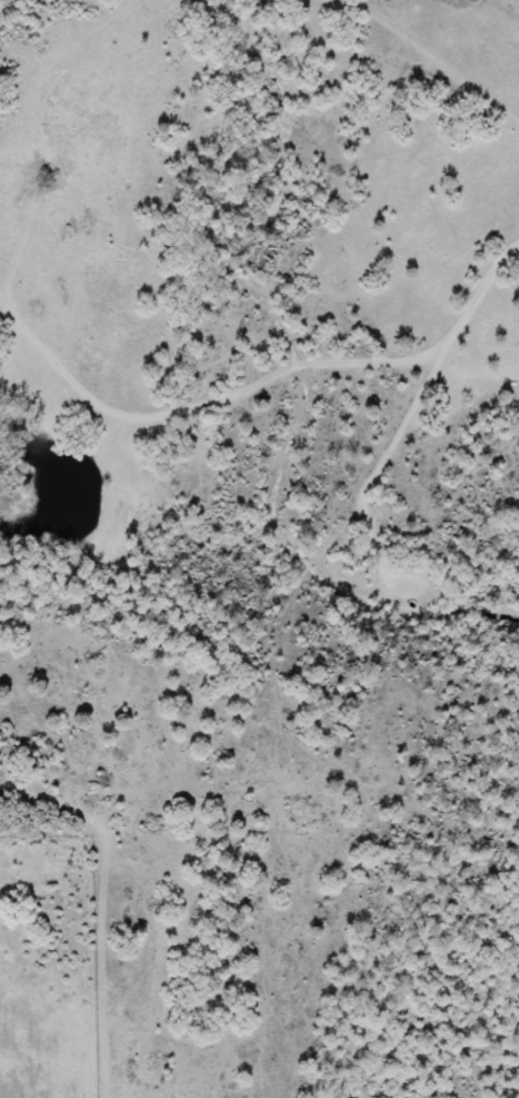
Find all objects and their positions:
road: (433, 50)

